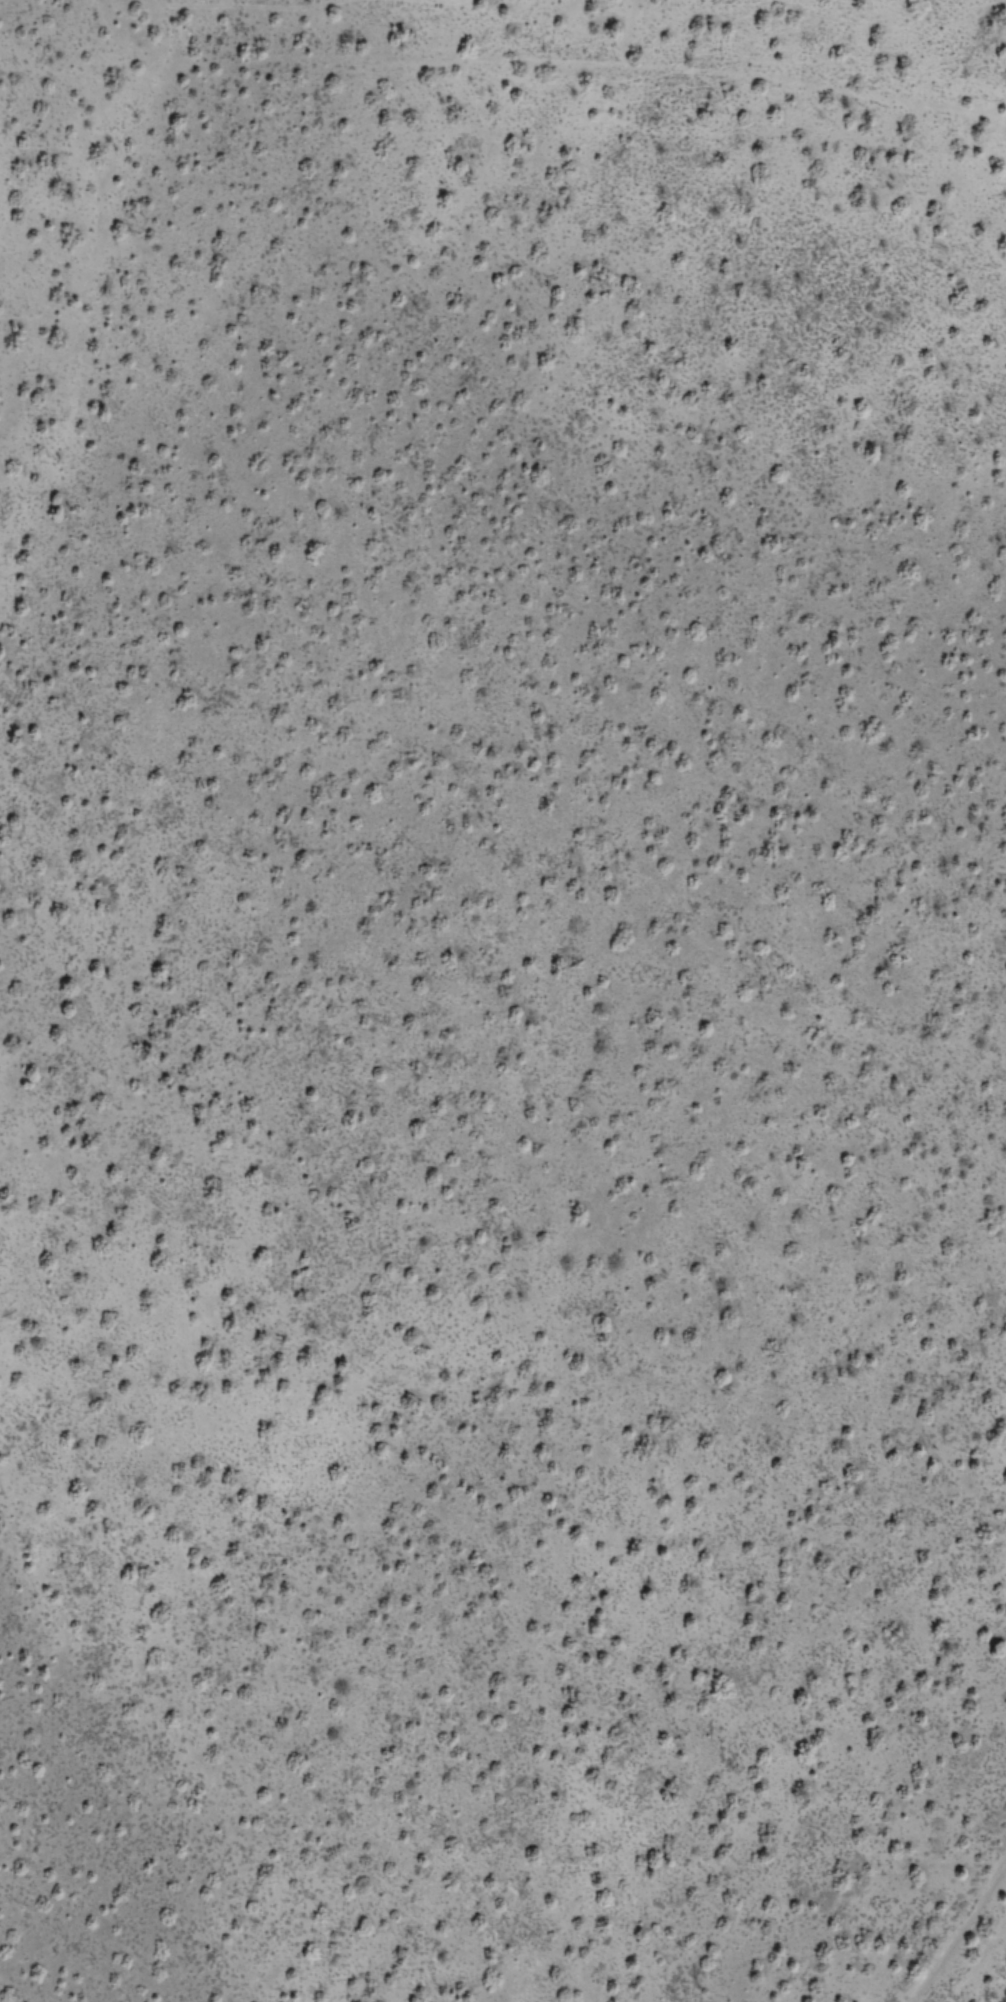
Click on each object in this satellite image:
road: (978, 1973)

